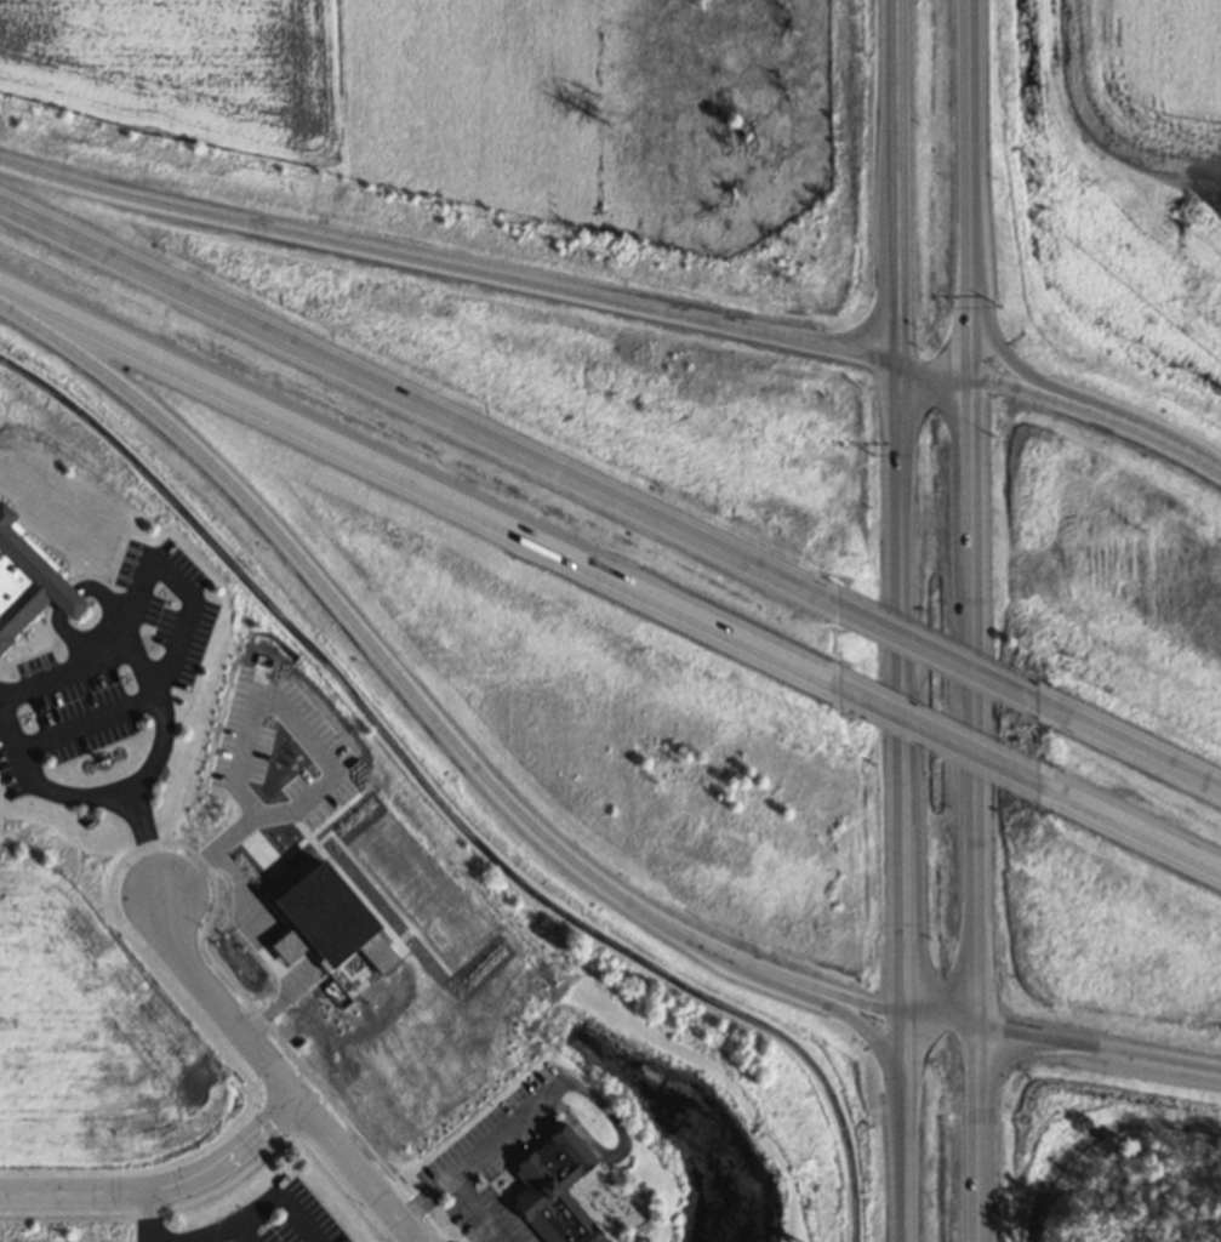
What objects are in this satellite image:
road: (971, 156)
road: (900, 181)
road: (447, 266)
road: (972, 344)
road: (1010, 361)
traffic signals: (898, 363)
road: (935, 369)
traffic signals: (972, 376)
road: (1015, 388)
road: (417, 404)
road: (1141, 433)
road: (417, 484)
building: (28, 581)
road: (935, 654)
road: (393, 667)
road: (900, 688)
road: (974, 702)
road: (935, 734)
road: (1128, 748)
road: (447, 805)
road: (1128, 828)
road: (858, 1002)
road: (938, 1021)
road: (865, 1031)
road: (903, 1048)
road: (1097, 1048)
road: (270, 1073)
road: (976, 1135)
road: (1095, 1136)
road: (906, 1161)
building: (554, 1189)
road: (161, 1191)

